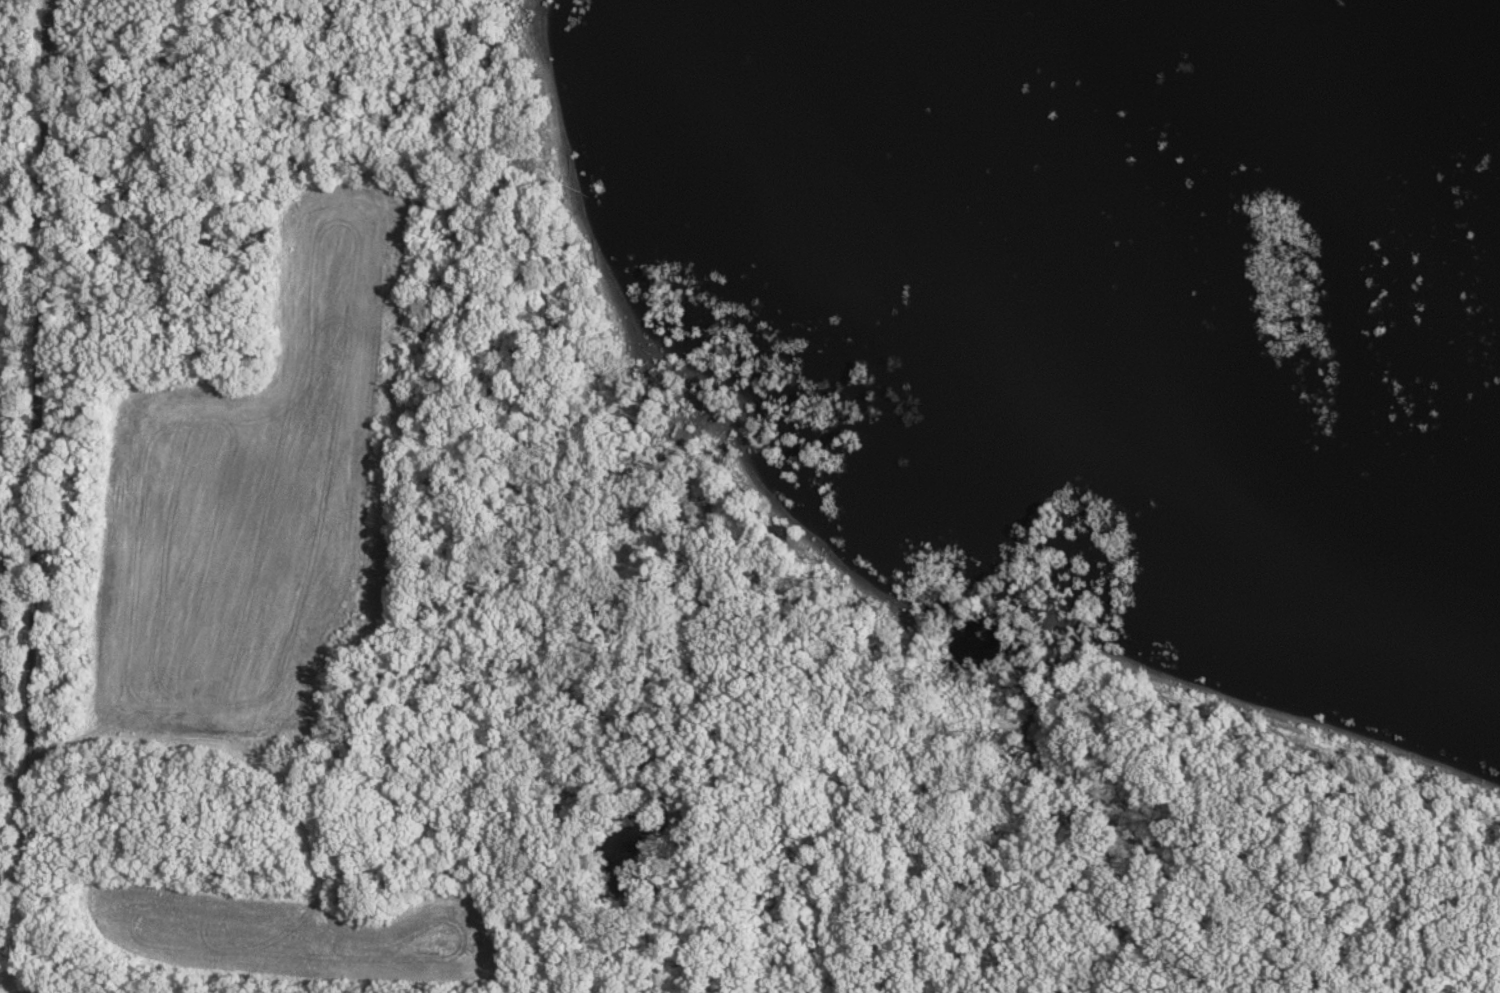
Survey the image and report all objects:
road: (31, 496)

